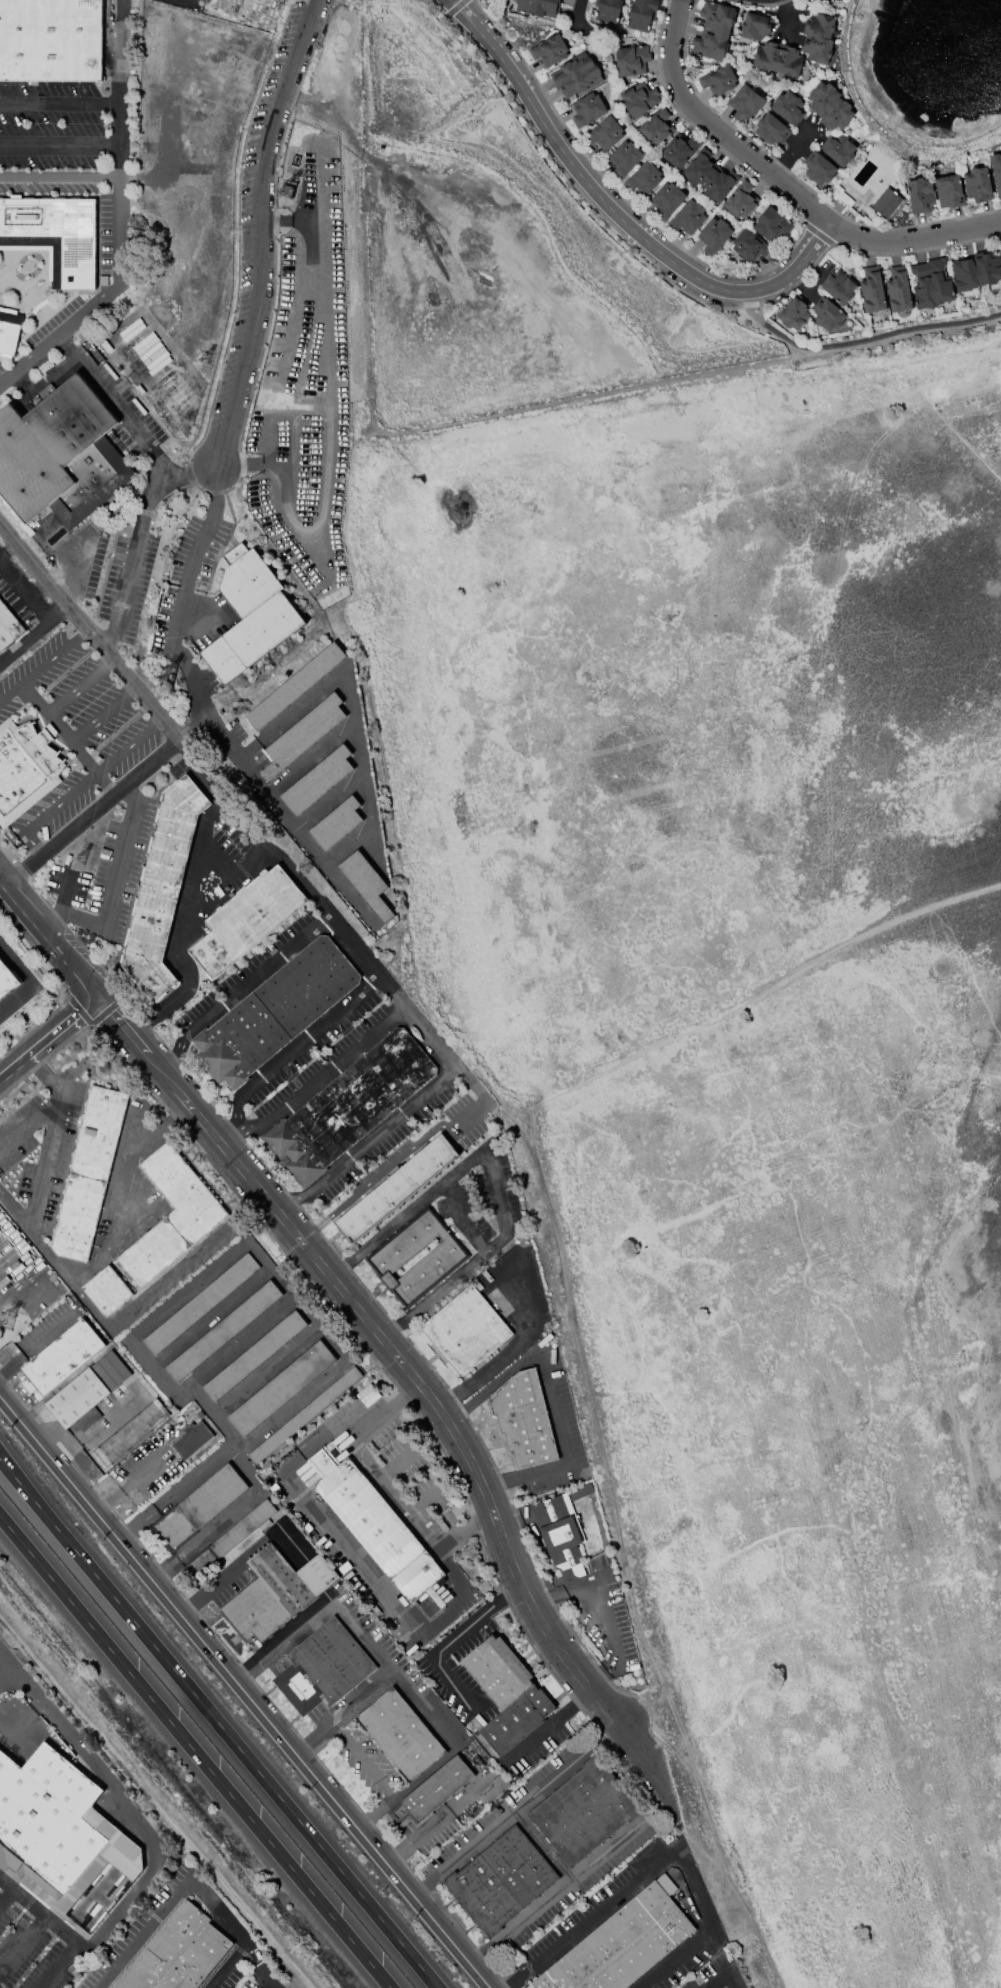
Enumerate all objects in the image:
building: (538, 7)
building: (606, 10)
building: (640, 14)
road: (575, 15)
building: (755, 26)
building: (713, 30)
building: (818, 37)
building: (50, 41)
building: (549, 50)
road: (120, 51)
building: (777, 57)
building: (631, 60)
building: (575, 74)
building: (717, 79)
building: (639, 99)
building: (744, 103)
building: (828, 106)
building: (787, 107)
building: (587, 109)
road: (319, 111)
road: (119, 122)
building: (656, 127)
building: (770, 129)
building: (604, 134)
building: (679, 150)
building: (838, 150)
building: (624, 158)
building: (818, 168)
building: (996, 172)
road: (59, 175)
building: (709, 176)
building: (643, 178)
building: (976, 185)
road: (782, 189)
building: (948, 191)
building: (920, 195)
power tower: (277, 199)
building: (667, 199)
building: (740, 200)
building: (886, 203)
road: (118, 212)
road: (612, 212)
building: (688, 217)
building: (771, 225)
road: (257, 232)
building: (54, 235)
building: (714, 235)
building: (748, 246)
building: (976, 271)
building: (930, 284)
building: (838, 287)
building: (871, 290)
building: (897, 290)
building: (793, 313)
building: (826, 315)
building: (8, 330)
road: (59, 331)
road: (856, 345)
power tower: (204, 359)
road: (384, 433)
building: (60, 455)
road: (154, 467)
road: (7, 544)
road: (76, 553)
road: (32, 602)
building: (250, 617)
building: (9, 627)
road: (106, 636)
road: (23, 638)
road: (43, 662)
road: (80, 682)
power tower: (153, 684)
building: (294, 686)
road: (105, 712)
road: (205, 714)
road: (58, 726)
building: (302, 734)
road: (230, 741)
road: (128, 744)
building: (24, 767)
building: (317, 781)
road: (104, 782)
road: (223, 797)
road: (48, 811)
building: (336, 824)
road: (197, 848)
power tower: (79, 860)
road: (115, 873)
building: (366, 883)
building: (166, 890)
road: (60, 902)
building: (251, 922)
road: (179, 934)
road: (48, 938)
road: (16, 963)
building: (6, 979)
road: (237, 985)
road: (64, 986)
road: (16, 997)
traffic signals: (95, 998)
building: (280, 1013)
road: (47, 1037)
road: (290, 1049)
road: (323, 1071)
building: (349, 1105)
road: (33, 1115)
road: (369, 1139)
road: (410, 1144)
building: (89, 1173)
building: (395, 1188)
road: (500, 1205)
road: (409, 1212)
building: (172, 1216)
road: (16, 1217)
building: (417, 1257)
road: (463, 1267)
road: (65, 1277)
road: (165, 1277)
building: (107, 1290)
road: (176, 1296)
building: (200, 1303)
road: (210, 1315)
building: (223, 1330)
building: (467, 1330)
road: (244, 1341)
road: (511, 1347)
building: (254, 1355)
building: (60, 1358)
road: (266, 1368)
road: (418, 1373)
building: (282, 1388)
building: (87, 1392)
road: (551, 1396)
road: (386, 1408)
building: (304, 1416)
building: (523, 1418)
building: (191, 1439)
road: (397, 1462)
road: (128, 1477)
building: (580, 1491)
road: (424, 1499)
building: (199, 1507)
road: (224, 1518)
road: (327, 1525)
building: (375, 1525)
building: (560, 1534)
building: (229, 1539)
road: (239, 1558)
building: (275, 1593)
road: (604, 1609)
road: (346, 1619)
road: (452, 1639)
building: (323, 1668)
road: (245, 1691)
building: (504, 1692)
road: (550, 1723)
road: (218, 1724)
building: (400, 1735)
road: (447, 1738)
road: (315, 1739)
road: (194, 1753)
road: (365, 1761)
building: (494, 1789)
building: (430, 1792)
building: (584, 1812)
road: (377, 1813)
road: (436, 1819)
road: (501, 1821)
road: (139, 1823)
building: (62, 1837)
road: (658, 1859)
road: (189, 1875)
building: (500, 1880)
road: (557, 1892)
road: (5, 1893)
road: (38, 1910)
road: (22, 1941)
building: (623, 1944)
building: (176, 1952)
road: (255, 1960)
road: (726, 1970)
road: (267, 1981)
road: (713, 1985)

